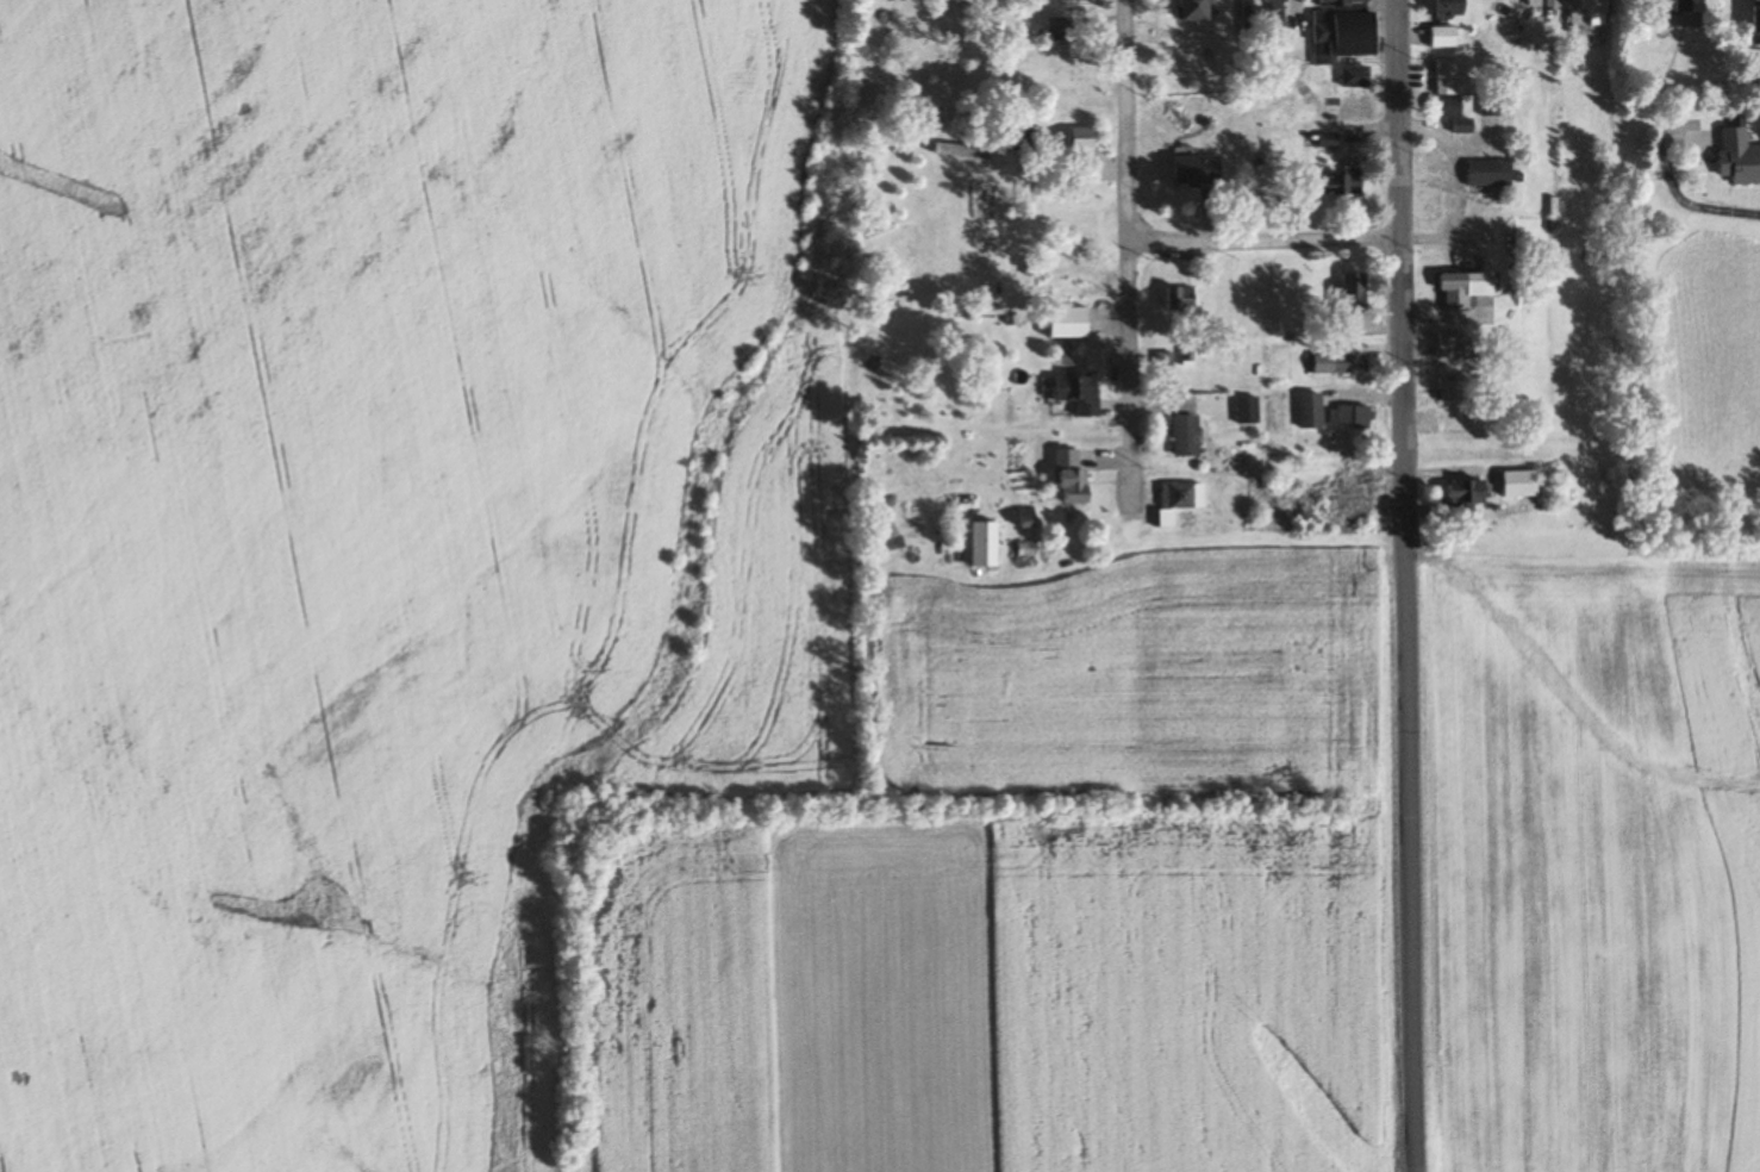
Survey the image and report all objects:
building: (1082, 1)
building: (1548, 4)
building: (1455, 7)
building: (1596, 7)
building: (1695, 8)
building: (1203, 11)
building: (1275, 14)
building: (1248, 17)
building: (1756, 20)
building: (1057, 29)
building: (1347, 30)
building: (1447, 37)
building: (1359, 77)
building: (1450, 91)
building: (1494, 105)
building: (1024, 139)
building: (968, 148)
building: (1085, 148)
building: (1741, 156)
building: (1202, 170)
building: (1494, 174)
building: (1087, 176)
building: (1343, 185)
road: (1268, 244)
road: (1131, 253)
building: (1059, 286)
building: (1471, 288)
building: (1182, 299)
building: (1350, 301)
building: (1455, 344)
building: (1167, 361)
building: (1343, 363)
building: (1455, 391)
building: (1080, 392)
building: (1250, 410)
building: (1313, 410)
building: (1353, 417)
building: (1190, 436)
building: (1074, 476)
building: (1350, 481)
building: (1525, 484)
building: (1471, 495)
building: (1181, 500)
building: (988, 544)
building: (1030, 554)
road: (1410, 585)

